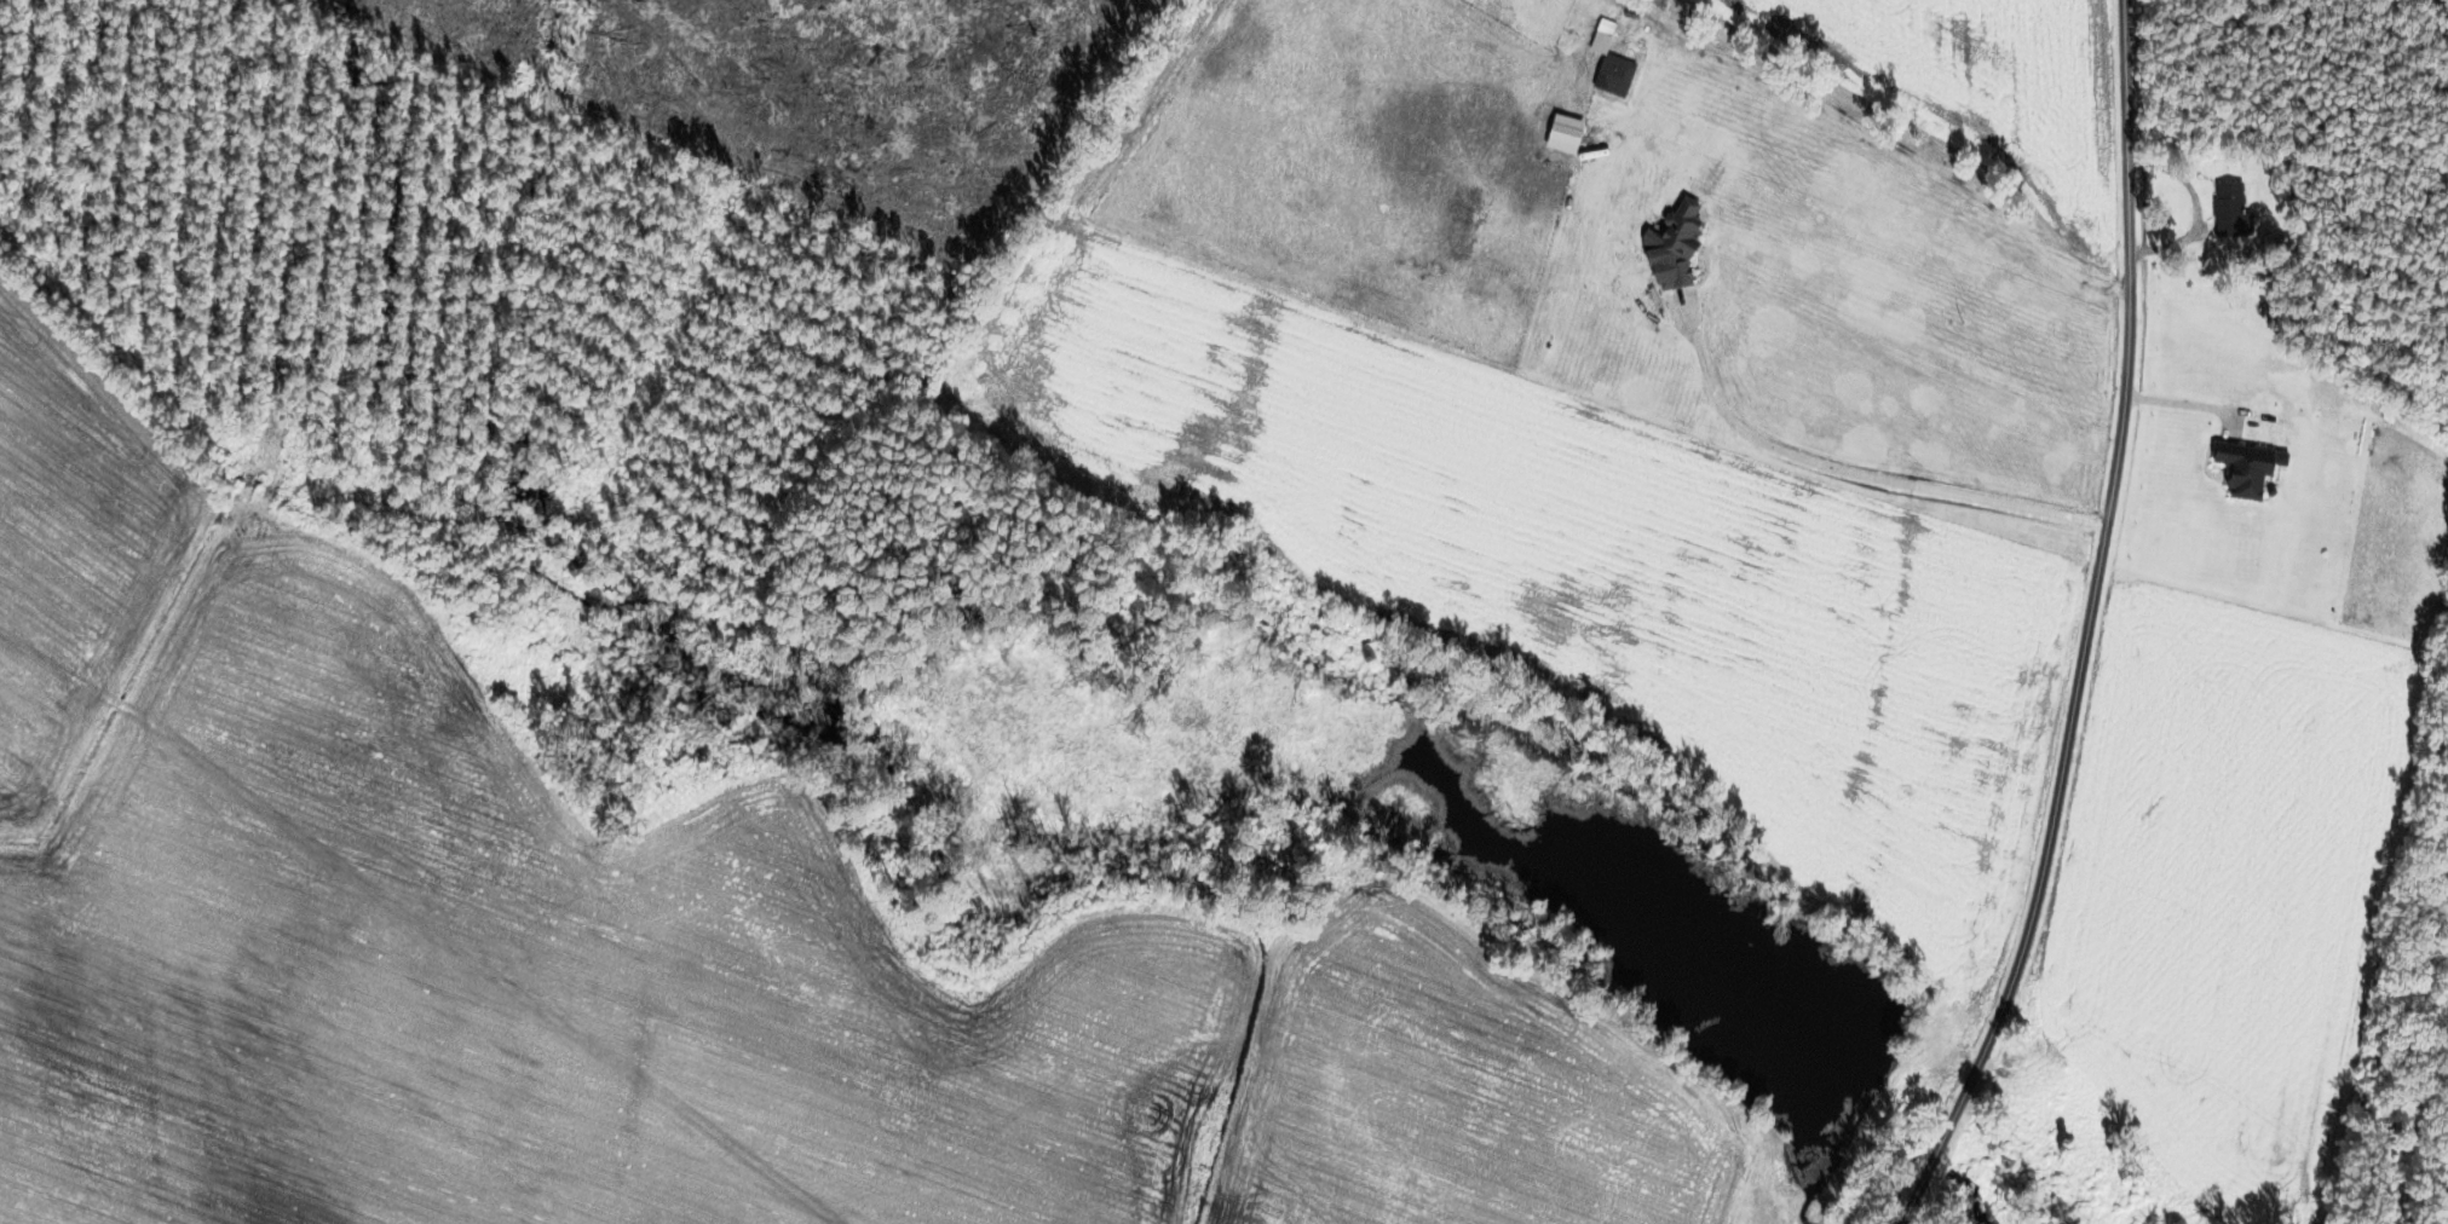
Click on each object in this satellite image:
crop: (1972, 88)
building: (2225, 208)
road: (2087, 625)

